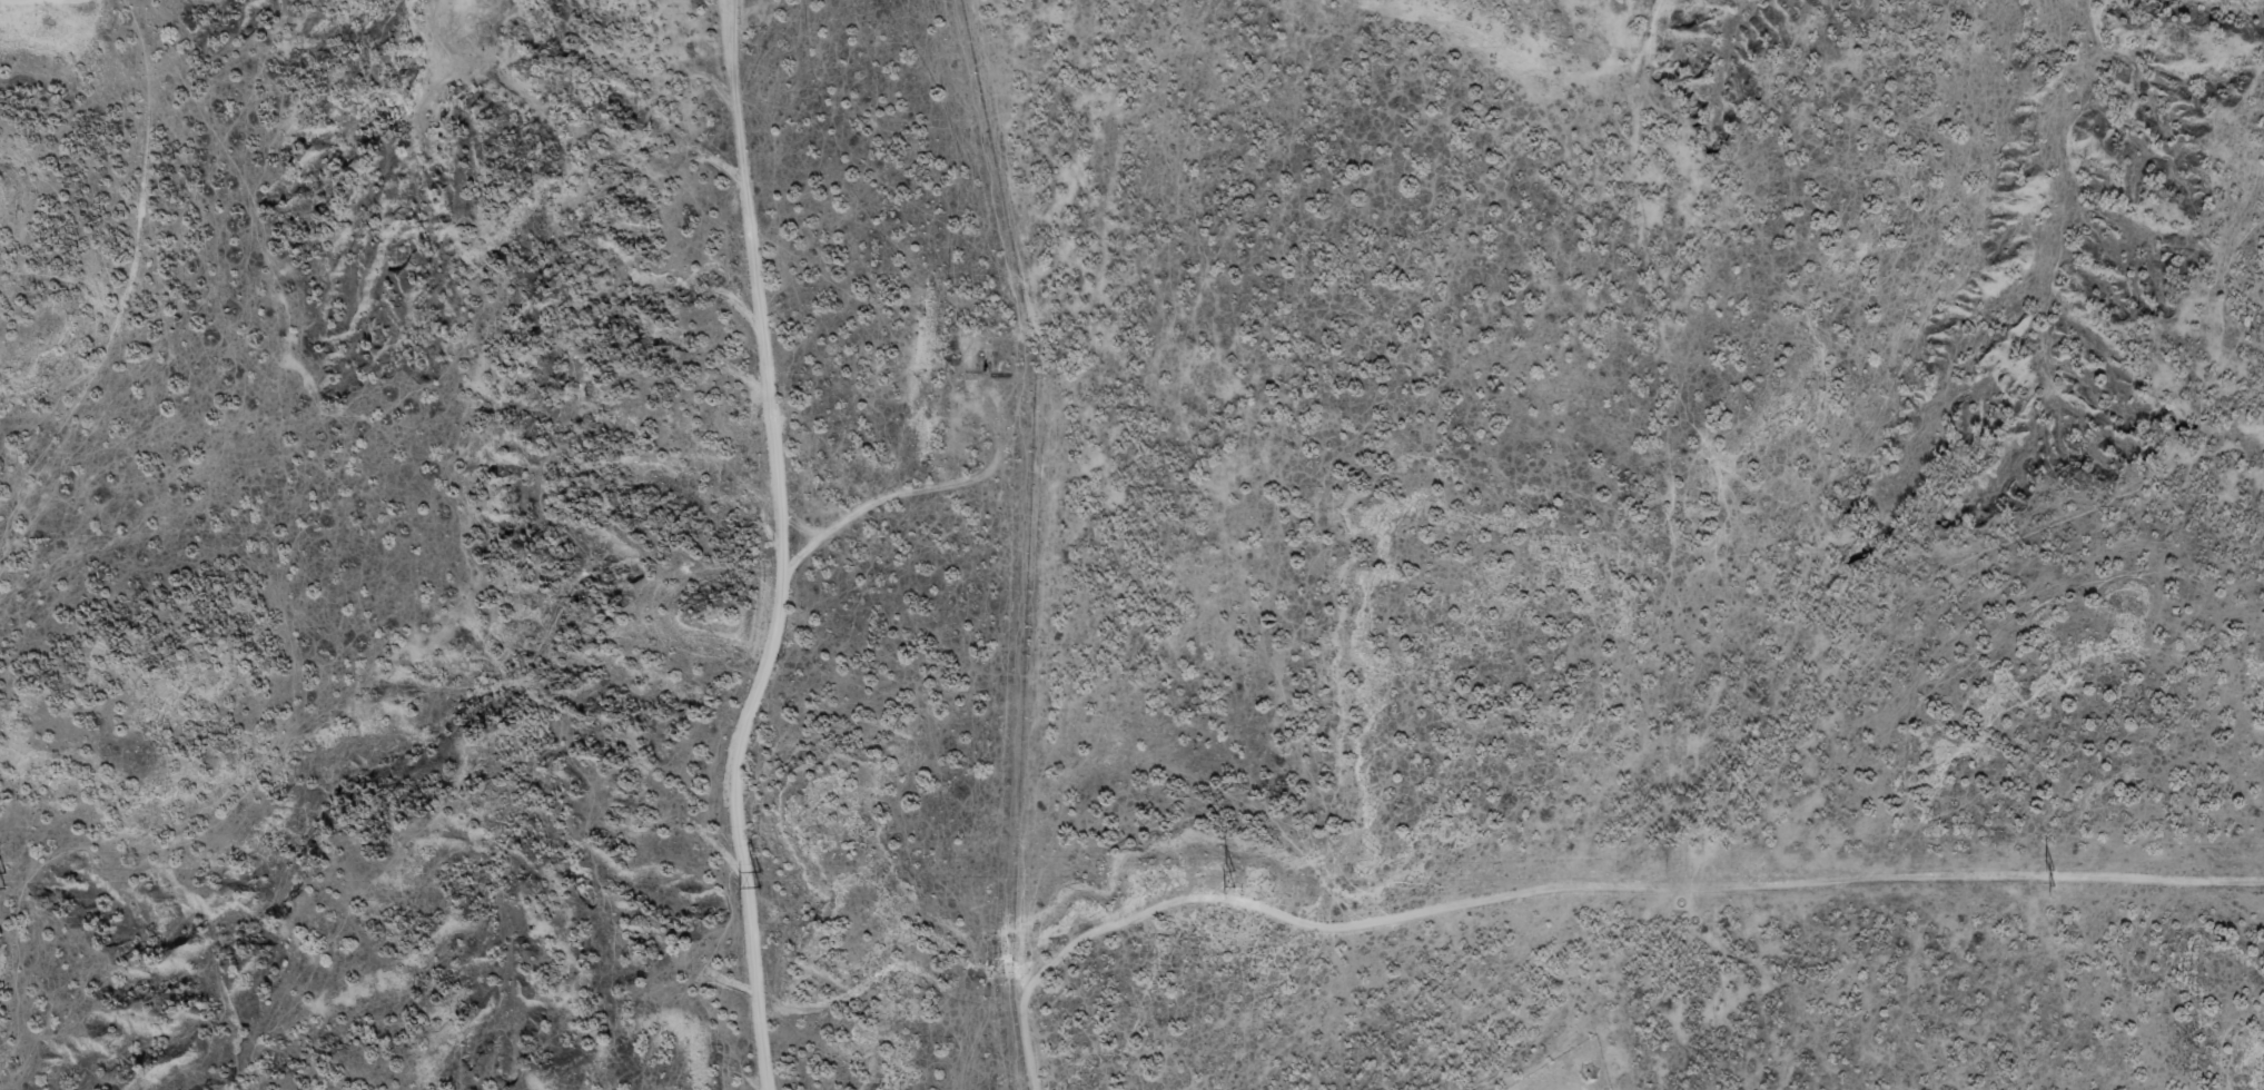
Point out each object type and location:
road: (774, 546)
power tower: (1229, 875)
power tower: (2047, 875)
power tower: (760, 879)

